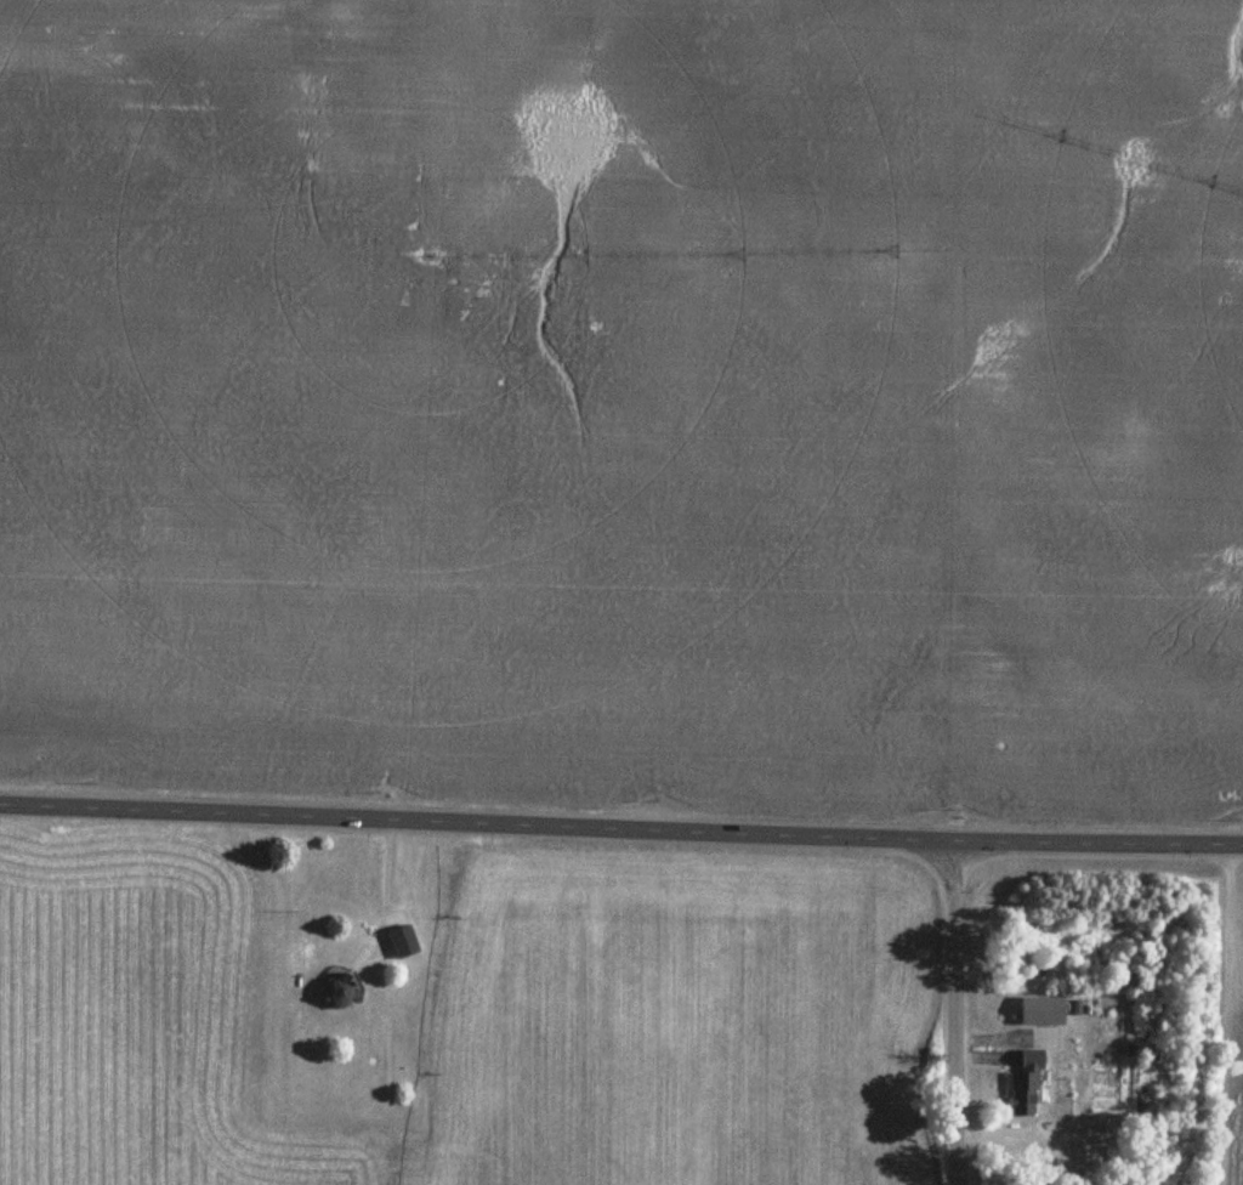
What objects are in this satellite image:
road: (477, 822)
road: (1099, 843)
building: (402, 941)
building: (337, 988)
road: (958, 1013)
building: (1029, 1073)

